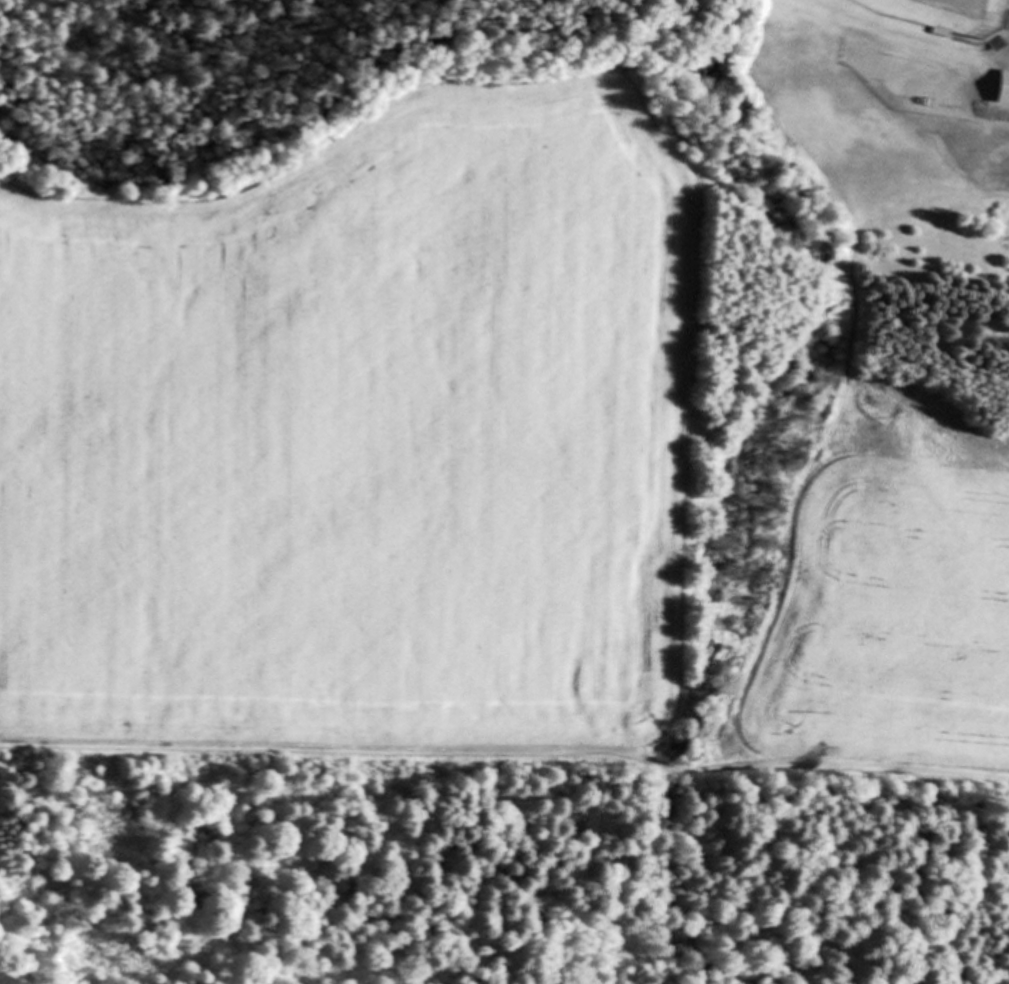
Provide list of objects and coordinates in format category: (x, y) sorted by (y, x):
building: (1001, 88)

